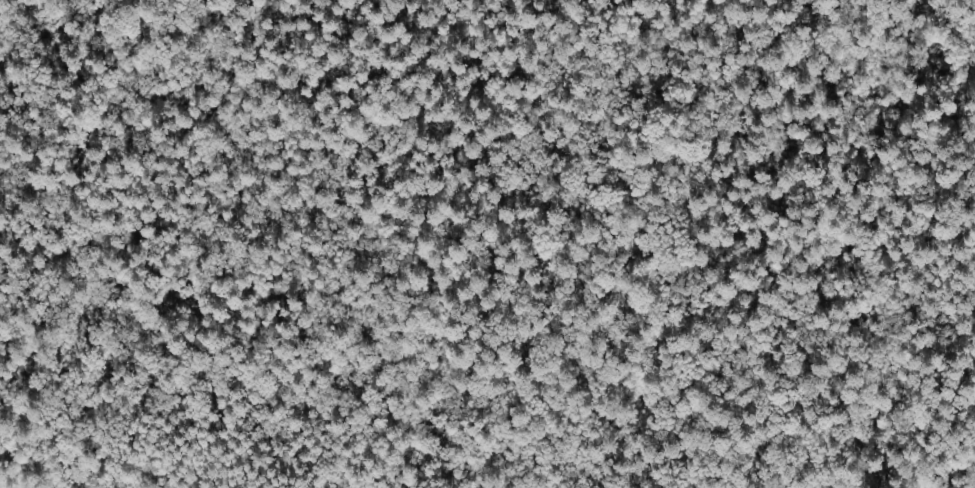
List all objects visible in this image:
road: (952, 393)

